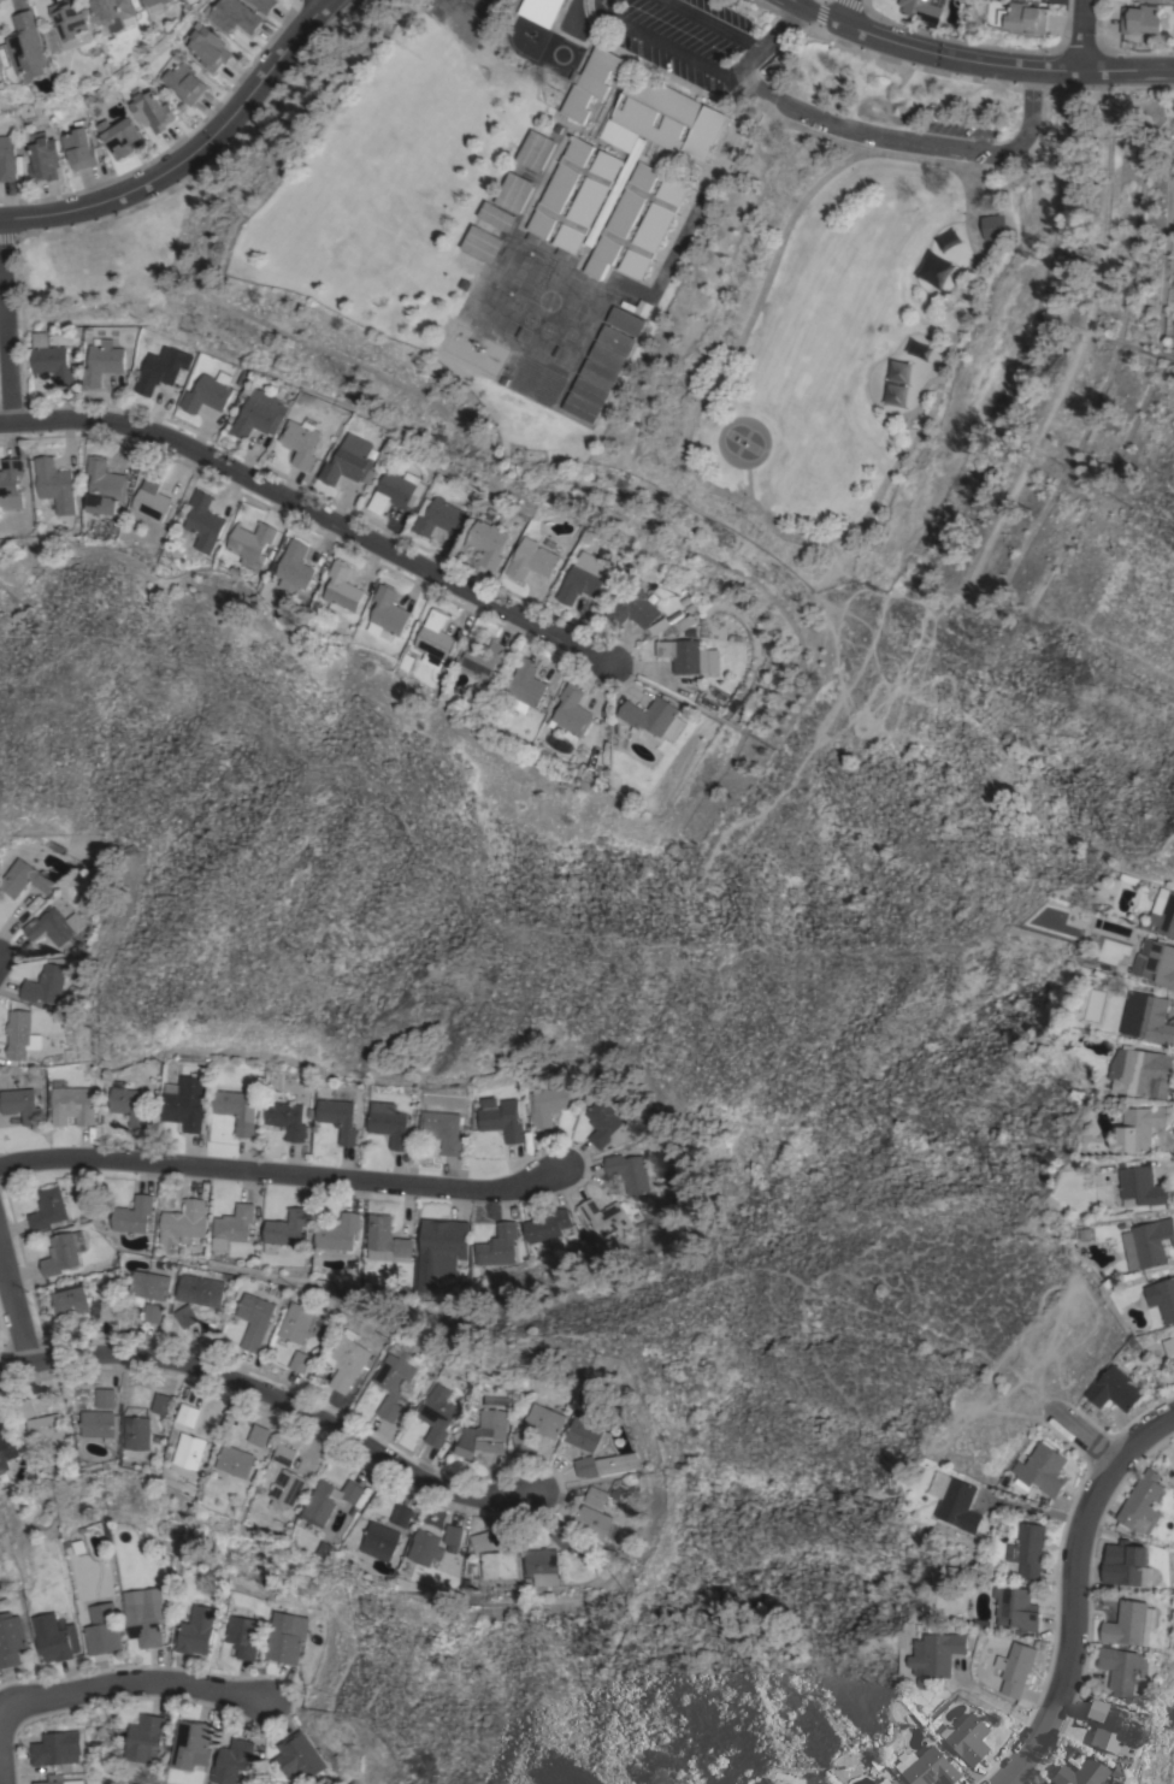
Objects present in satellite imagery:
road: (324, 0)
building: (1154, 0)
building: (155, 1)
building: (264, 5)
building: (921, 10)
road: (840, 11)
building: (113, 13)
building: (234, 14)
building: (1025, 17)
building: (69, 18)
building: (1139, 19)
road: (1079, 34)
road: (736, 37)
road: (768, 45)
building: (29, 47)
building: (210, 48)
road: (677, 53)
road: (978, 61)
building: (184, 82)
building: (594, 83)
building: (151, 110)
road: (797, 112)
building: (663, 119)
parking lot: (957, 130)
building: (119, 136)
building: (79, 148)
building: (536, 150)
road: (981, 152)
road: (190, 153)
building: (43, 156)
building: (7, 158)
building: (615, 190)
building: (514, 193)
building: (591, 194)
building: (497, 215)
building: (657, 219)
building: (993, 226)
building: (483, 243)
building: (637, 307)
building: (625, 321)
building: (617, 339)
road: (5, 353)
park: (853, 354)
building: (608, 356)
building: (51, 360)
building: (102, 362)
building: (159, 371)
building: (598, 374)
building: (536, 382)
building: (590, 391)
building: (208, 392)
building: (582, 408)
building: (259, 414)
building: (301, 441)
building: (349, 461)
building: (11, 483)
building: (55, 485)
building: (104, 486)
building: (396, 491)
building: (151, 497)
road: (311, 512)
building: (437, 516)
building: (201, 520)
road: (774, 525)
building: (486, 542)
building: (250, 543)
building: (536, 557)
building: (293, 567)
building: (584, 579)
building: (341, 589)
building: (633, 607)
building: (385, 612)
building: (432, 639)
building: (684, 656)
building: (479, 658)
building: (523, 686)
building: (570, 713)
building: (653, 716)
building: (24, 879)
building: (1164, 910)
building: (53, 926)
building: (1157, 961)
building: (45, 985)
building: (1146, 1017)
building: (18, 1029)
building: (1140, 1071)
building: (185, 1100)
building: (72, 1104)
building: (548, 1104)
building: (22, 1105)
building: (130, 1105)
building: (236, 1110)
building: (285, 1116)
building: (338, 1118)
building: (500, 1118)
building: (389, 1123)
building: (603, 1126)
building: (1137, 1128)
building: (443, 1129)
building: (627, 1171)
road: (282, 1174)
building: (1141, 1188)
building: (48, 1209)
building: (132, 1215)
building: (603, 1217)
building: (185, 1219)
building: (232, 1225)
building: (547, 1225)
building: (285, 1230)
building: (338, 1231)
building: (387, 1240)
building: (443, 1242)
building: (1148, 1242)
building: (497, 1245)
building: (63, 1252)
building: (148, 1284)
building: (201, 1290)
building: (1166, 1298)
building: (70, 1299)
road: (13, 1305)
building: (102, 1310)
building: (152, 1312)
building: (187, 1316)
building: (255, 1319)
building: (296, 1324)
building: (1168, 1346)
building: (301, 1361)
building: (348, 1361)
building: (393, 1383)
building: (1115, 1389)
building: (105, 1398)
building: (161, 1404)
building: (24, 1408)
road: (275, 1412)
building: (437, 1413)
building: (188, 1414)
building: (542, 1419)
building: (2, 1424)
building: (96, 1424)
building: (46, 1430)
building: (136, 1432)
building: (580, 1432)
building: (258, 1434)
building: (483, 1434)
building: (520, 1440)
road: (1089, 1442)
building: (5, 1449)
building: (189, 1451)
building: (284, 1454)
building: (234, 1461)
building: (615, 1463)
building: (584, 1466)
building: (1043, 1469)
building: (285, 1489)
building: (594, 1496)
building: (328, 1500)
building: (1143, 1502)
building: (958, 1505)
building: (401, 1516)
building: (590, 1522)
building: (452, 1534)
building: (561, 1537)
building: (378, 1541)
building: (482, 1541)
building: (78, 1544)
building: (425, 1547)
building: (1027, 1549)
building: (496, 1565)
building: (539, 1567)
building: (1127, 1567)
road: (1079, 1591)
building: (1015, 1607)
building: (1129, 1623)
building: (142, 1624)
building: (100, 1628)
building: (196, 1630)
building: (244, 1635)
building: (54, 1637)
building: (284, 1638)
building: (10, 1640)
building: (936, 1655)
building: (1015, 1668)
building: (1121, 1668)
road: (135, 1682)
building: (1109, 1726)
building: (142, 1736)
building: (968, 1738)
building: (189, 1744)
building: (54, 1748)
building: (297, 1756)
building: (232, 1760)
building: (926, 1767)
building: (1081, 1772)
road: (0, 1776)
building: (57, 1780)
building: (886, 1782)
building: (1046, 1783)

